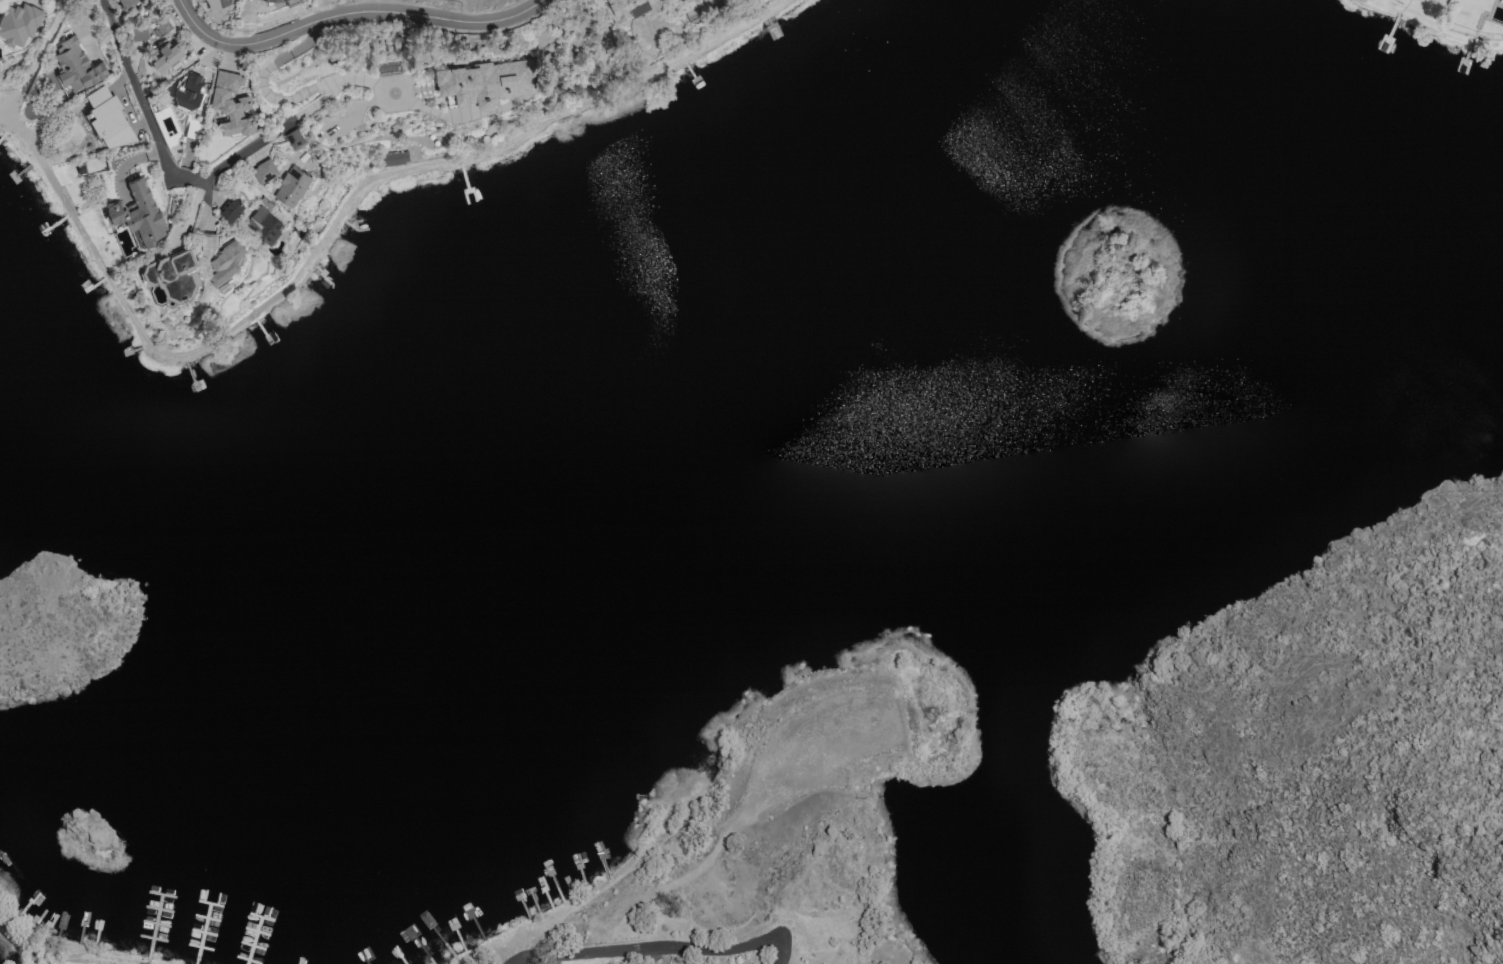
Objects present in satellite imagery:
building: (283, 0)
building: (297, 0)
building: (125, 3)
building: (215, 3)
building: (626, 6)
road: (359, 14)
building: (18, 22)
building: (138, 33)
building: (167, 58)
building: (76, 70)
road: (353, 80)
building: (486, 81)
building: (187, 92)
building: (231, 102)
building: (108, 116)
road: (146, 121)
road: (278, 128)
building: (294, 138)
building: (262, 166)
building: (291, 186)
building: (230, 208)
building: (139, 212)
building: (262, 227)
building: (207, 242)
building: (225, 261)
building: (171, 270)
road: (676, 948)
road: (789, 955)

